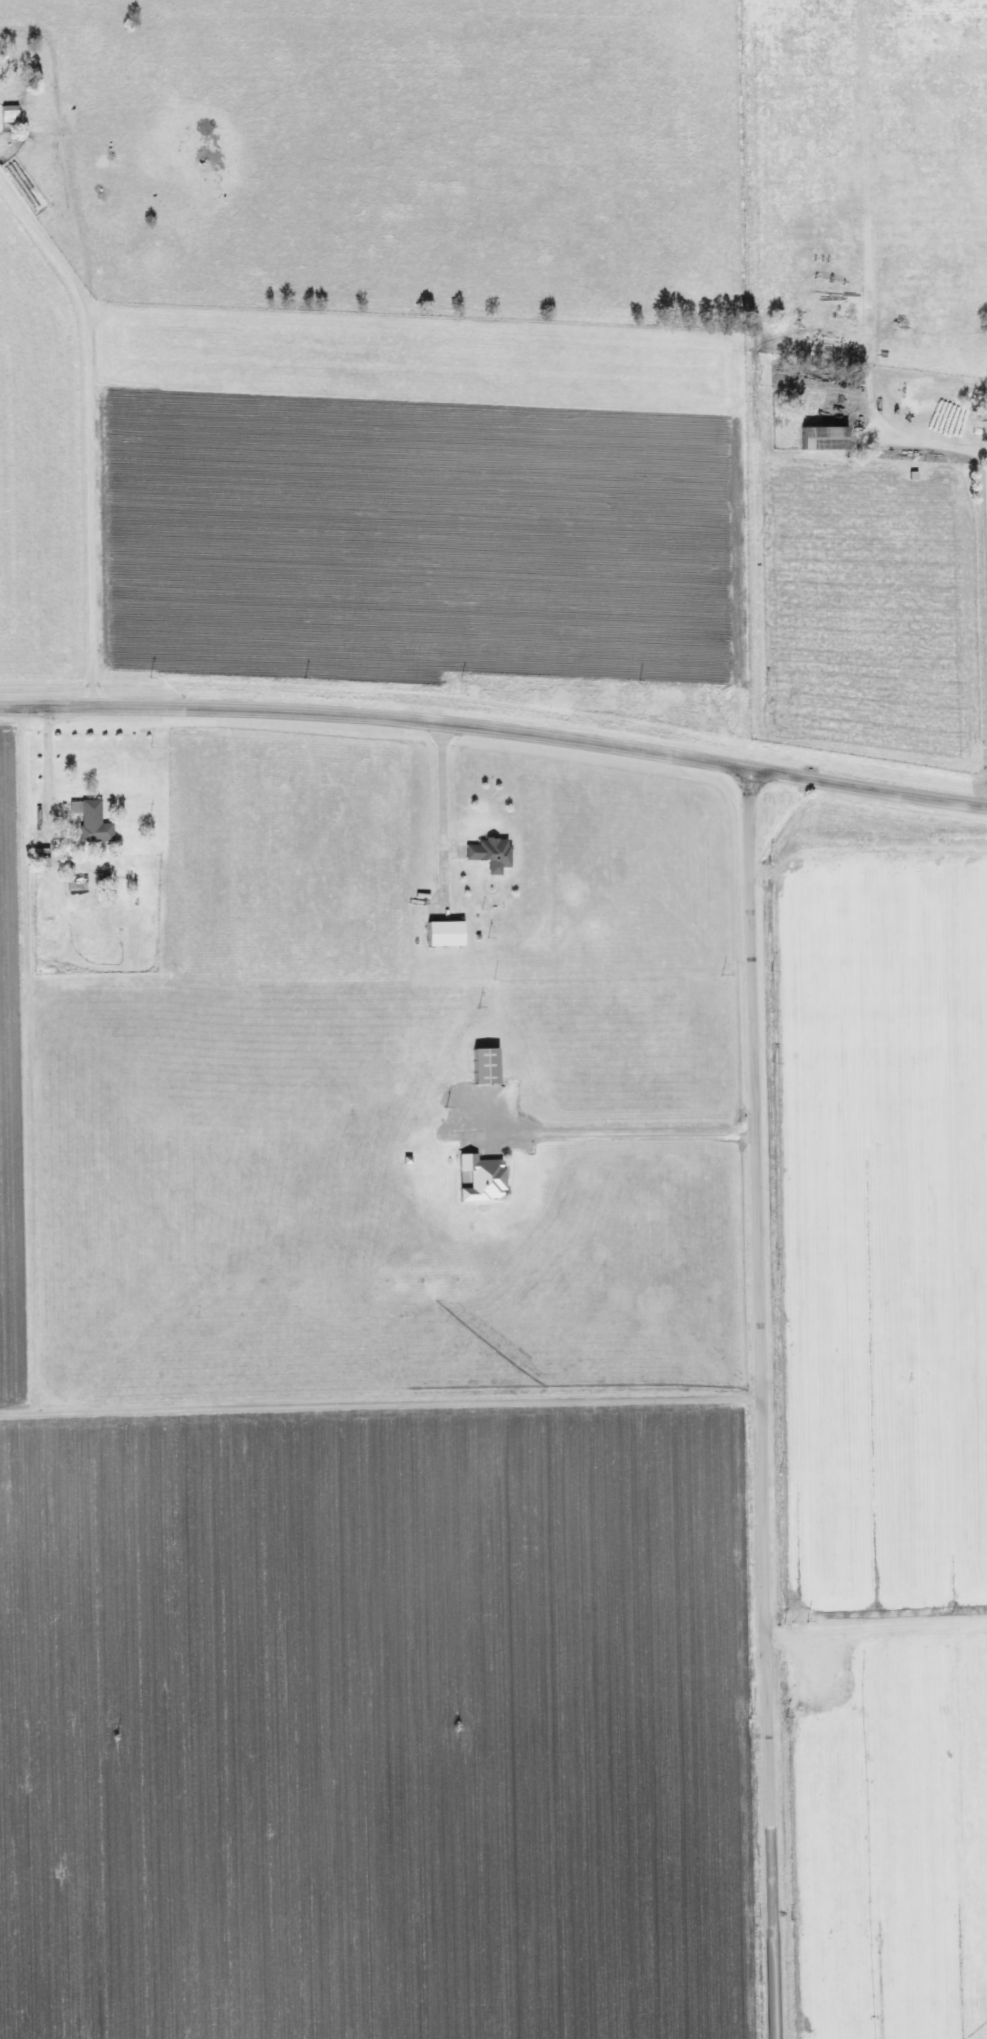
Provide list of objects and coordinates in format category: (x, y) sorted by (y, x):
building: (11, 113)
building: (812, 437)
road: (100, 446)
road: (985, 566)
road: (495, 728)
road: (42, 757)
road: (435, 786)
building: (93, 820)
building: (436, 933)
building: (477, 1066)
road: (619, 1132)
building: (472, 1179)
road: (378, 1400)
road: (757, 1404)
road: (875, 1625)

